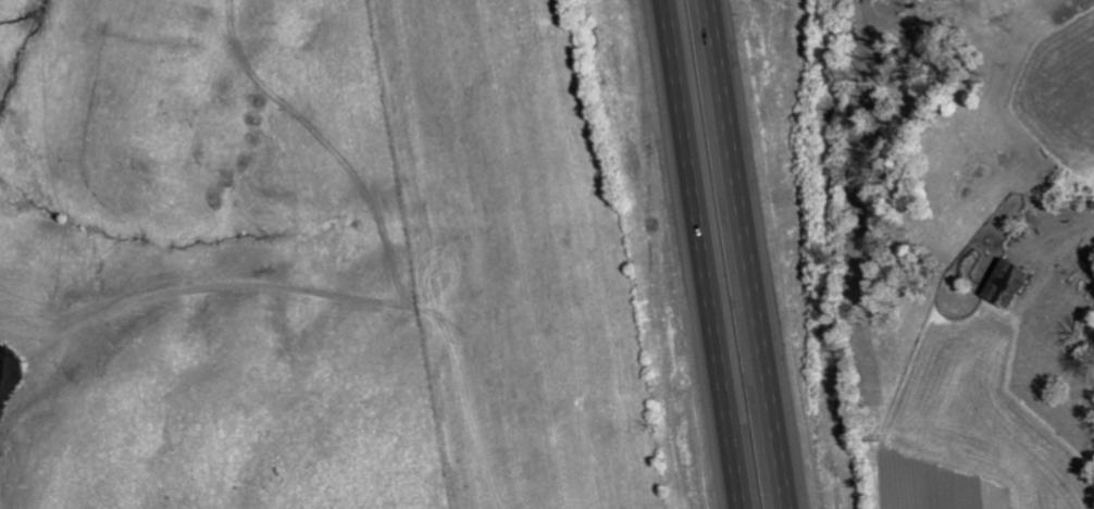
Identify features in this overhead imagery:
road: (1056, 231)
road: (705, 253)
road: (749, 253)
building: (999, 284)

